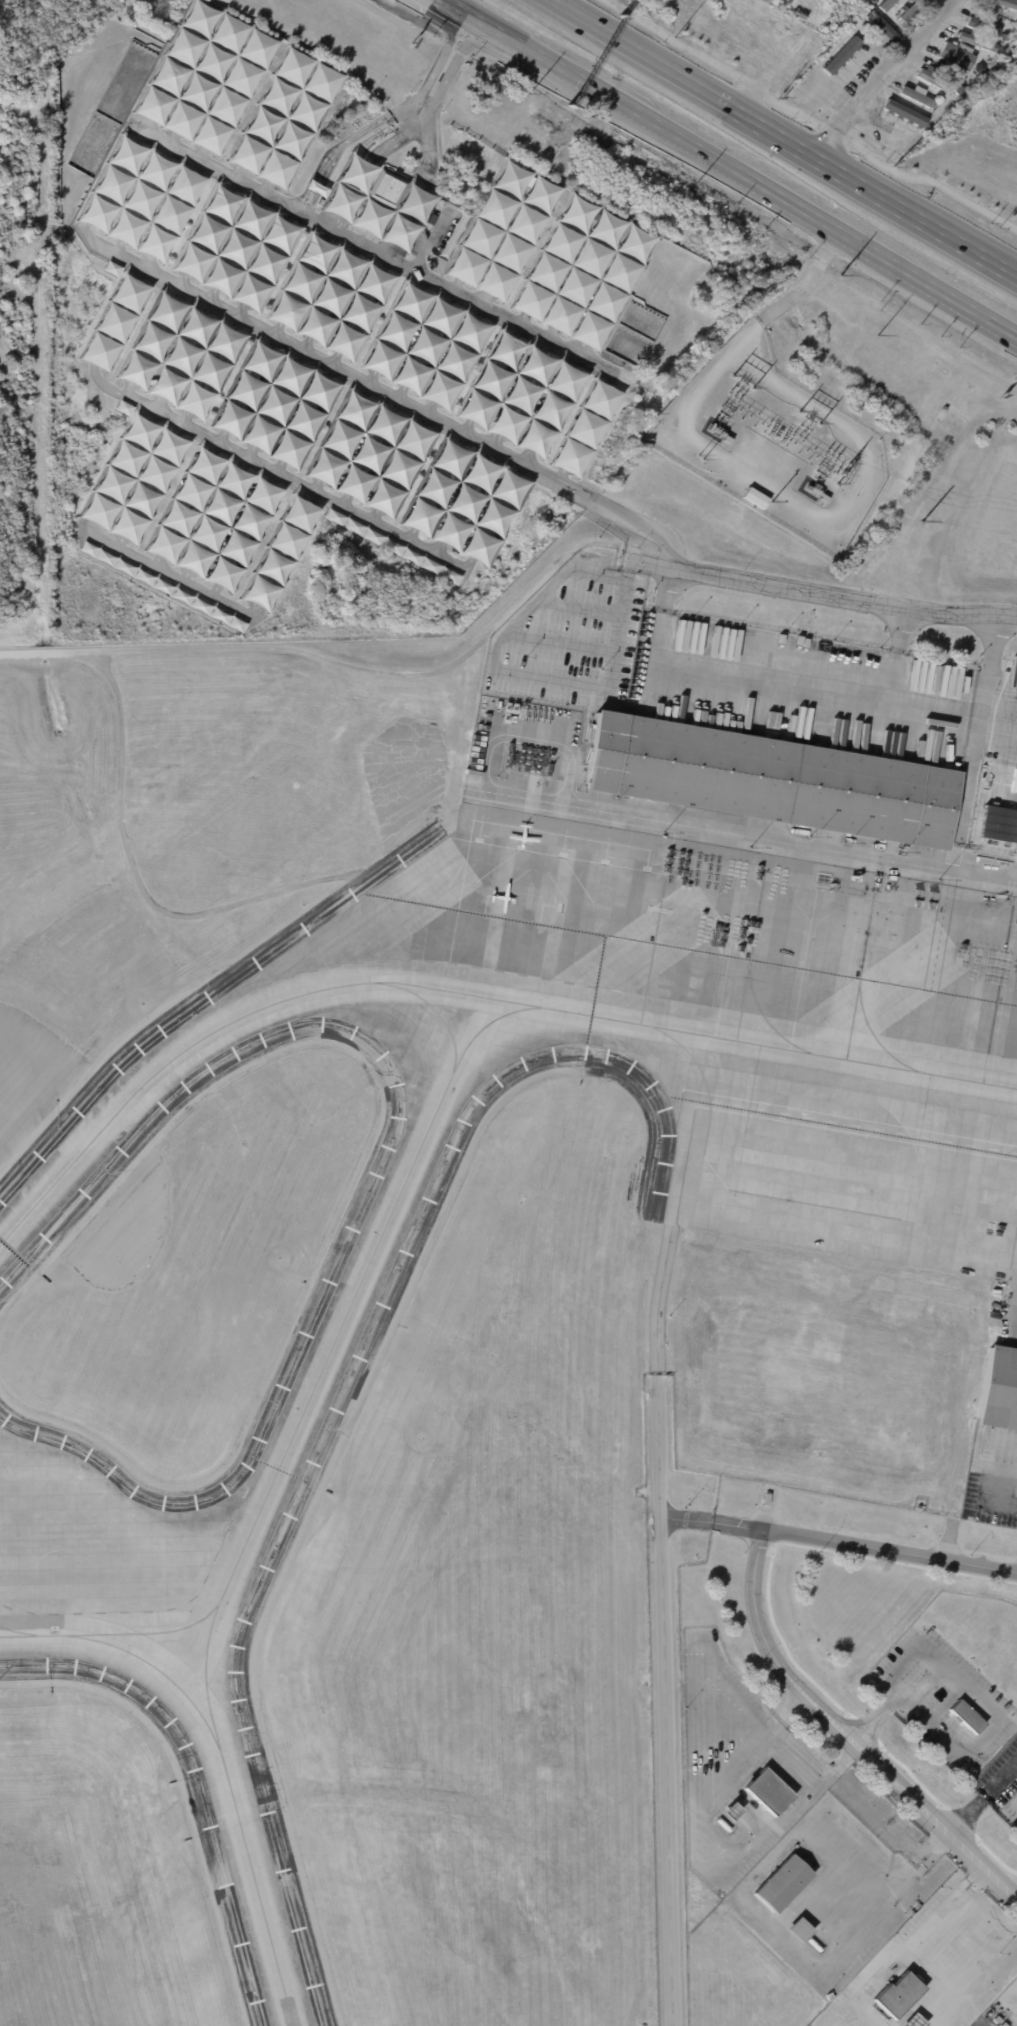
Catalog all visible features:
building: (921, 3)
building: (1005, 3)
building: (886, 4)
road: (456, 8)
building: (883, 25)
building: (983, 27)
building: (1007, 36)
building: (979, 42)
building: (843, 45)
building: (867, 47)
road: (260, 49)
building: (958, 57)
road: (173, 68)
building: (874, 70)
building: (205, 76)
road: (881, 77)
road: (677, 78)
building: (934, 79)
road: (202, 83)
building: (959, 91)
building: (919, 97)
road: (233, 99)
road: (436, 102)
road: (404, 110)
road: (266, 116)
building: (285, 117)
road: (806, 121)
building: (903, 121)
road: (652, 123)
road: (141, 130)
road: (296, 131)
road: (383, 132)
road: (170, 145)
road: (364, 150)
road: (428, 155)
road: (381, 156)
road: (202, 161)
road: (335, 162)
road: (234, 178)
road: (113, 183)
road: (340, 183)
road: (311, 185)
building: (317, 187)
road: (348, 187)
building: (387, 187)
road: (321, 189)
road: (352, 189)
road: (361, 193)
road: (264, 194)
road: (879, 197)
building: (143, 198)
road: (144, 199)
road: (303, 200)
building: (377, 205)
road: (313, 206)
road: (572, 207)
road: (401, 213)
road: (175, 214)
road: (290, 215)
road: (323, 217)
road: (335, 224)
road: (485, 227)
road: (328, 228)
road: (344, 228)
building: (503, 229)
road: (91, 233)
road: (207, 233)
building: (453, 234)
road: (431, 236)
road: (515, 242)
road: (119, 247)
building: (236, 248)
road: (236, 248)
road: (356, 248)
road: (384, 248)
road: (377, 252)
road: (983, 258)
road: (551, 262)
road: (265, 263)
road: (384, 263)
building: (113, 267)
road: (147, 268)
building: (582, 271)
road: (579, 276)
road: (301, 280)
road: (420, 282)
road: (925, 284)
road: (180, 286)
road: (806, 286)
road: (452, 291)
road: (608, 291)
road: (331, 296)
building: (332, 296)
road: (209, 301)
road: (482, 306)
road: (359, 311)
road: (238, 316)
building: (116, 322)
road: (118, 323)
road: (518, 325)
parking lot: (331, 326)
road: (395, 330)
road: (274, 333)
road: (153, 340)
road: (547, 340)
building: (425, 346)
road: (425, 346)
road: (303, 349)
building: (180, 354)
road: (576, 354)
road: (181, 355)
road: (324, 360)
road: (454, 361)
road: (332, 364)
road: (210, 369)
road: (491, 379)
road: (611, 380)
road: (369, 383)
road: (105, 385)
road: (246, 387)
road: (128, 388)
road: (520, 393)
building: (521, 394)
road: (397, 399)
building: (276, 402)
road: (276, 402)
road: (154, 407)
road: (548, 408)
road: (426, 414)
road: (304, 417)
road: (183, 422)
building: (586, 427)
road: (586, 428)
road: (464, 432)
road: (341, 437)
road: (219, 441)
power substation: (771, 442)
road: (492, 446)
building: (369, 452)
road: (371, 453)
road: (248, 455)
road: (521, 461)
road: (399, 467)
road: (277, 470)
road: (123, 472)
road: (561, 476)
building: (136, 478)
road: (294, 482)
road: (150, 486)
road: (437, 486)
road: (314, 489)
building: (756, 498)
building: (465, 500)
road: (465, 500)
road: (346, 501)
road: (186, 504)
road: (624, 514)
road: (375, 515)
road: (493, 515)
building: (215, 518)
road: (215, 519)
power tower: (922, 523)
road: (95, 530)
road: (244, 533)
road: (413, 534)
road: (121, 543)
building: (392, 546)
road: (440, 548)
building: (280, 552)
road: (282, 553)
road: (157, 561)
road: (468, 563)
road: (171, 575)
road: (186, 576)
building: (164, 586)
road: (669, 586)
road: (215, 591)
road: (818, 591)
road: (252, 611)
road: (902, 628)
road: (992, 665)
road: (739, 681)
road: (887, 709)
building: (773, 779)
building: (1013, 837)
airport taxiway: (462, 992)
airport taxiway: (433, 1008)
airport apron: (791, 1019)
airport: (523, 1292)
airport taxiway: (326, 1357)
building: (999, 1388)
road: (999, 1500)
road: (688, 1516)
road: (953, 1540)
road: (864, 1544)
building: (917, 1619)
road: (668, 1623)
airport taxiway: (20, 1631)
road: (778, 1634)
road: (771, 1647)
road: (899, 1659)
airport taxiway: (205, 1677)
building: (924, 1680)
road: (889, 1684)
road: (945, 1687)
parking lot: (942, 1696)
road: (874, 1714)
road: (996, 1714)
building: (966, 1717)
road: (764, 1733)
road: (943, 1734)
airport taxiway: (221, 1758)
building: (769, 1791)
road: (980, 1791)
road: (1003, 1794)
building: (735, 1811)
road: (935, 1818)
road: (981, 1871)
road: (965, 1881)
building: (784, 1883)
road: (970, 1888)
road: (959, 1894)
building: (803, 1930)
road: (962, 1942)
road: (935, 1970)
building: (899, 1994)
building: (828, 1996)
parking lot: (988, 2018)
building: (918, 2021)

